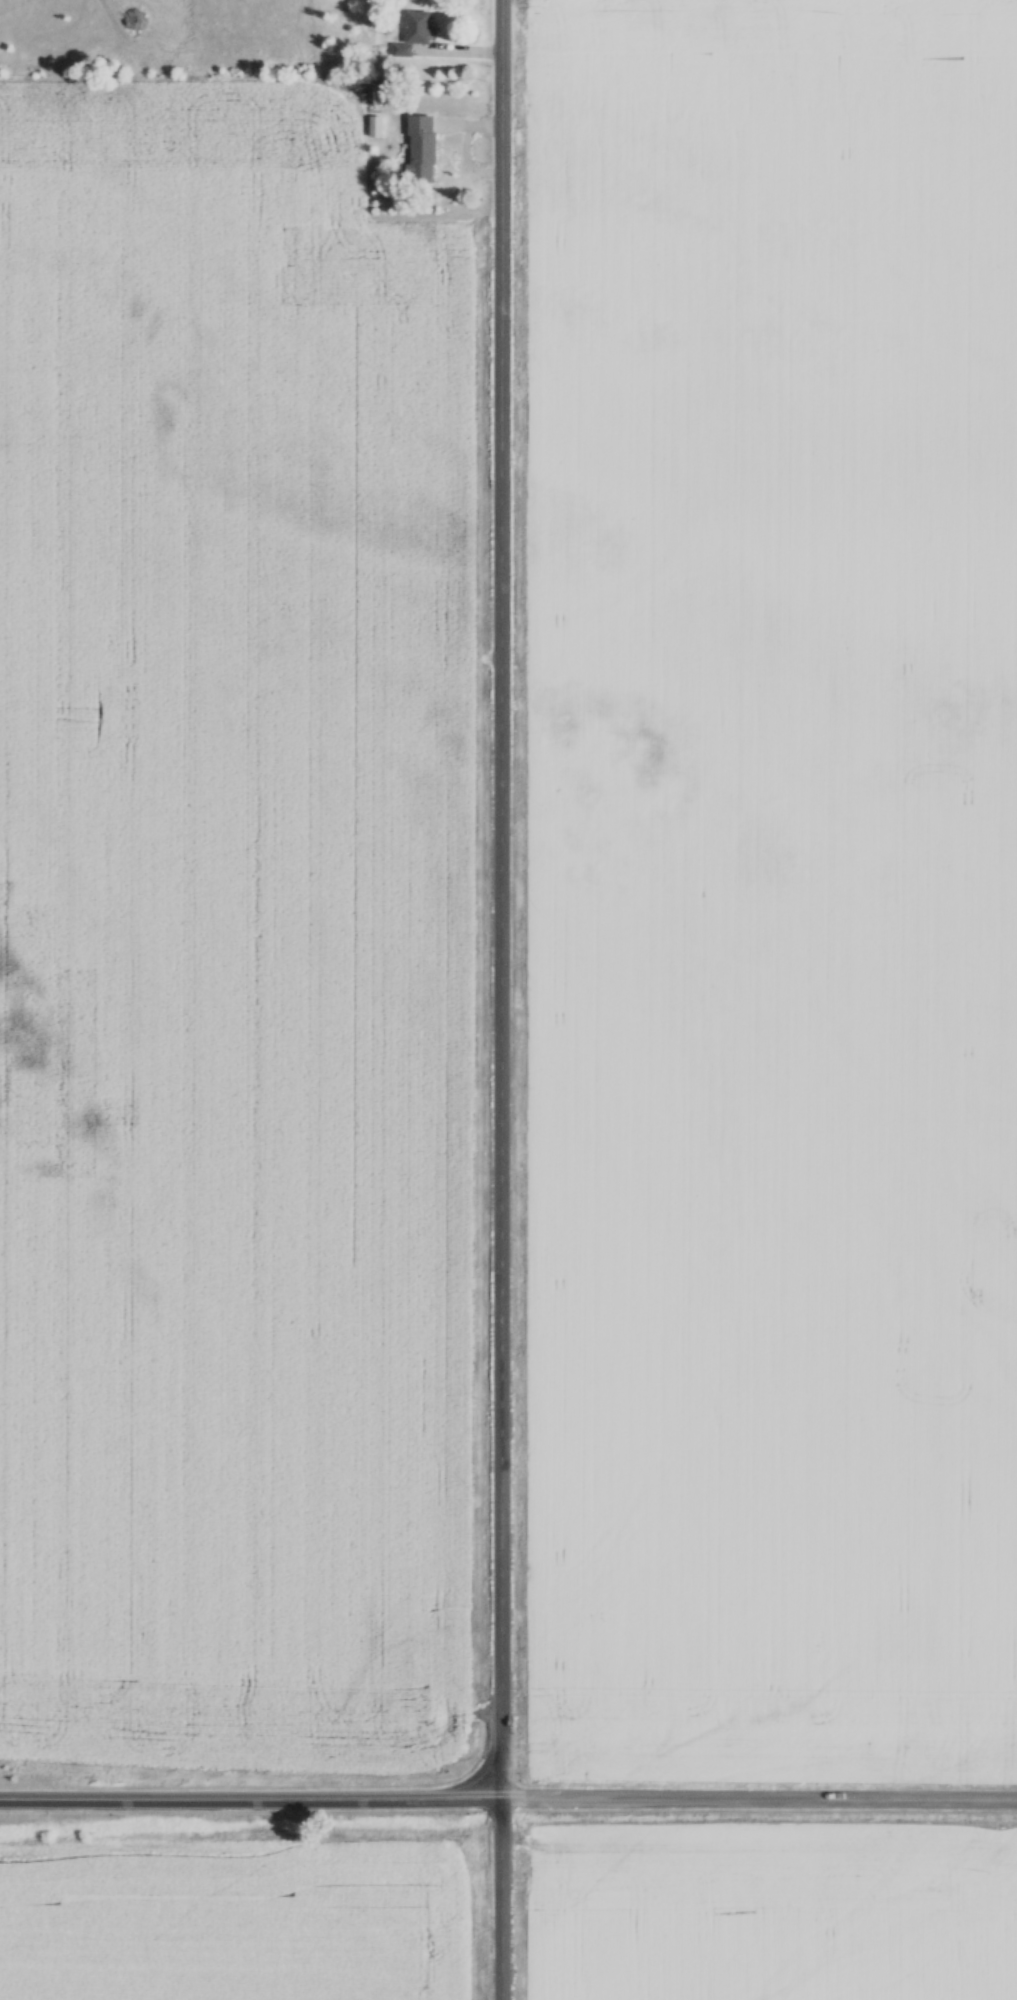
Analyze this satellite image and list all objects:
building: (414, 32)
road: (500, 51)
building: (376, 126)
building: (421, 146)
road: (502, 156)
crop: (230, 928)
road: (501, 1103)
road: (249, 1795)
road: (758, 1798)
crop: (236, 1921)

